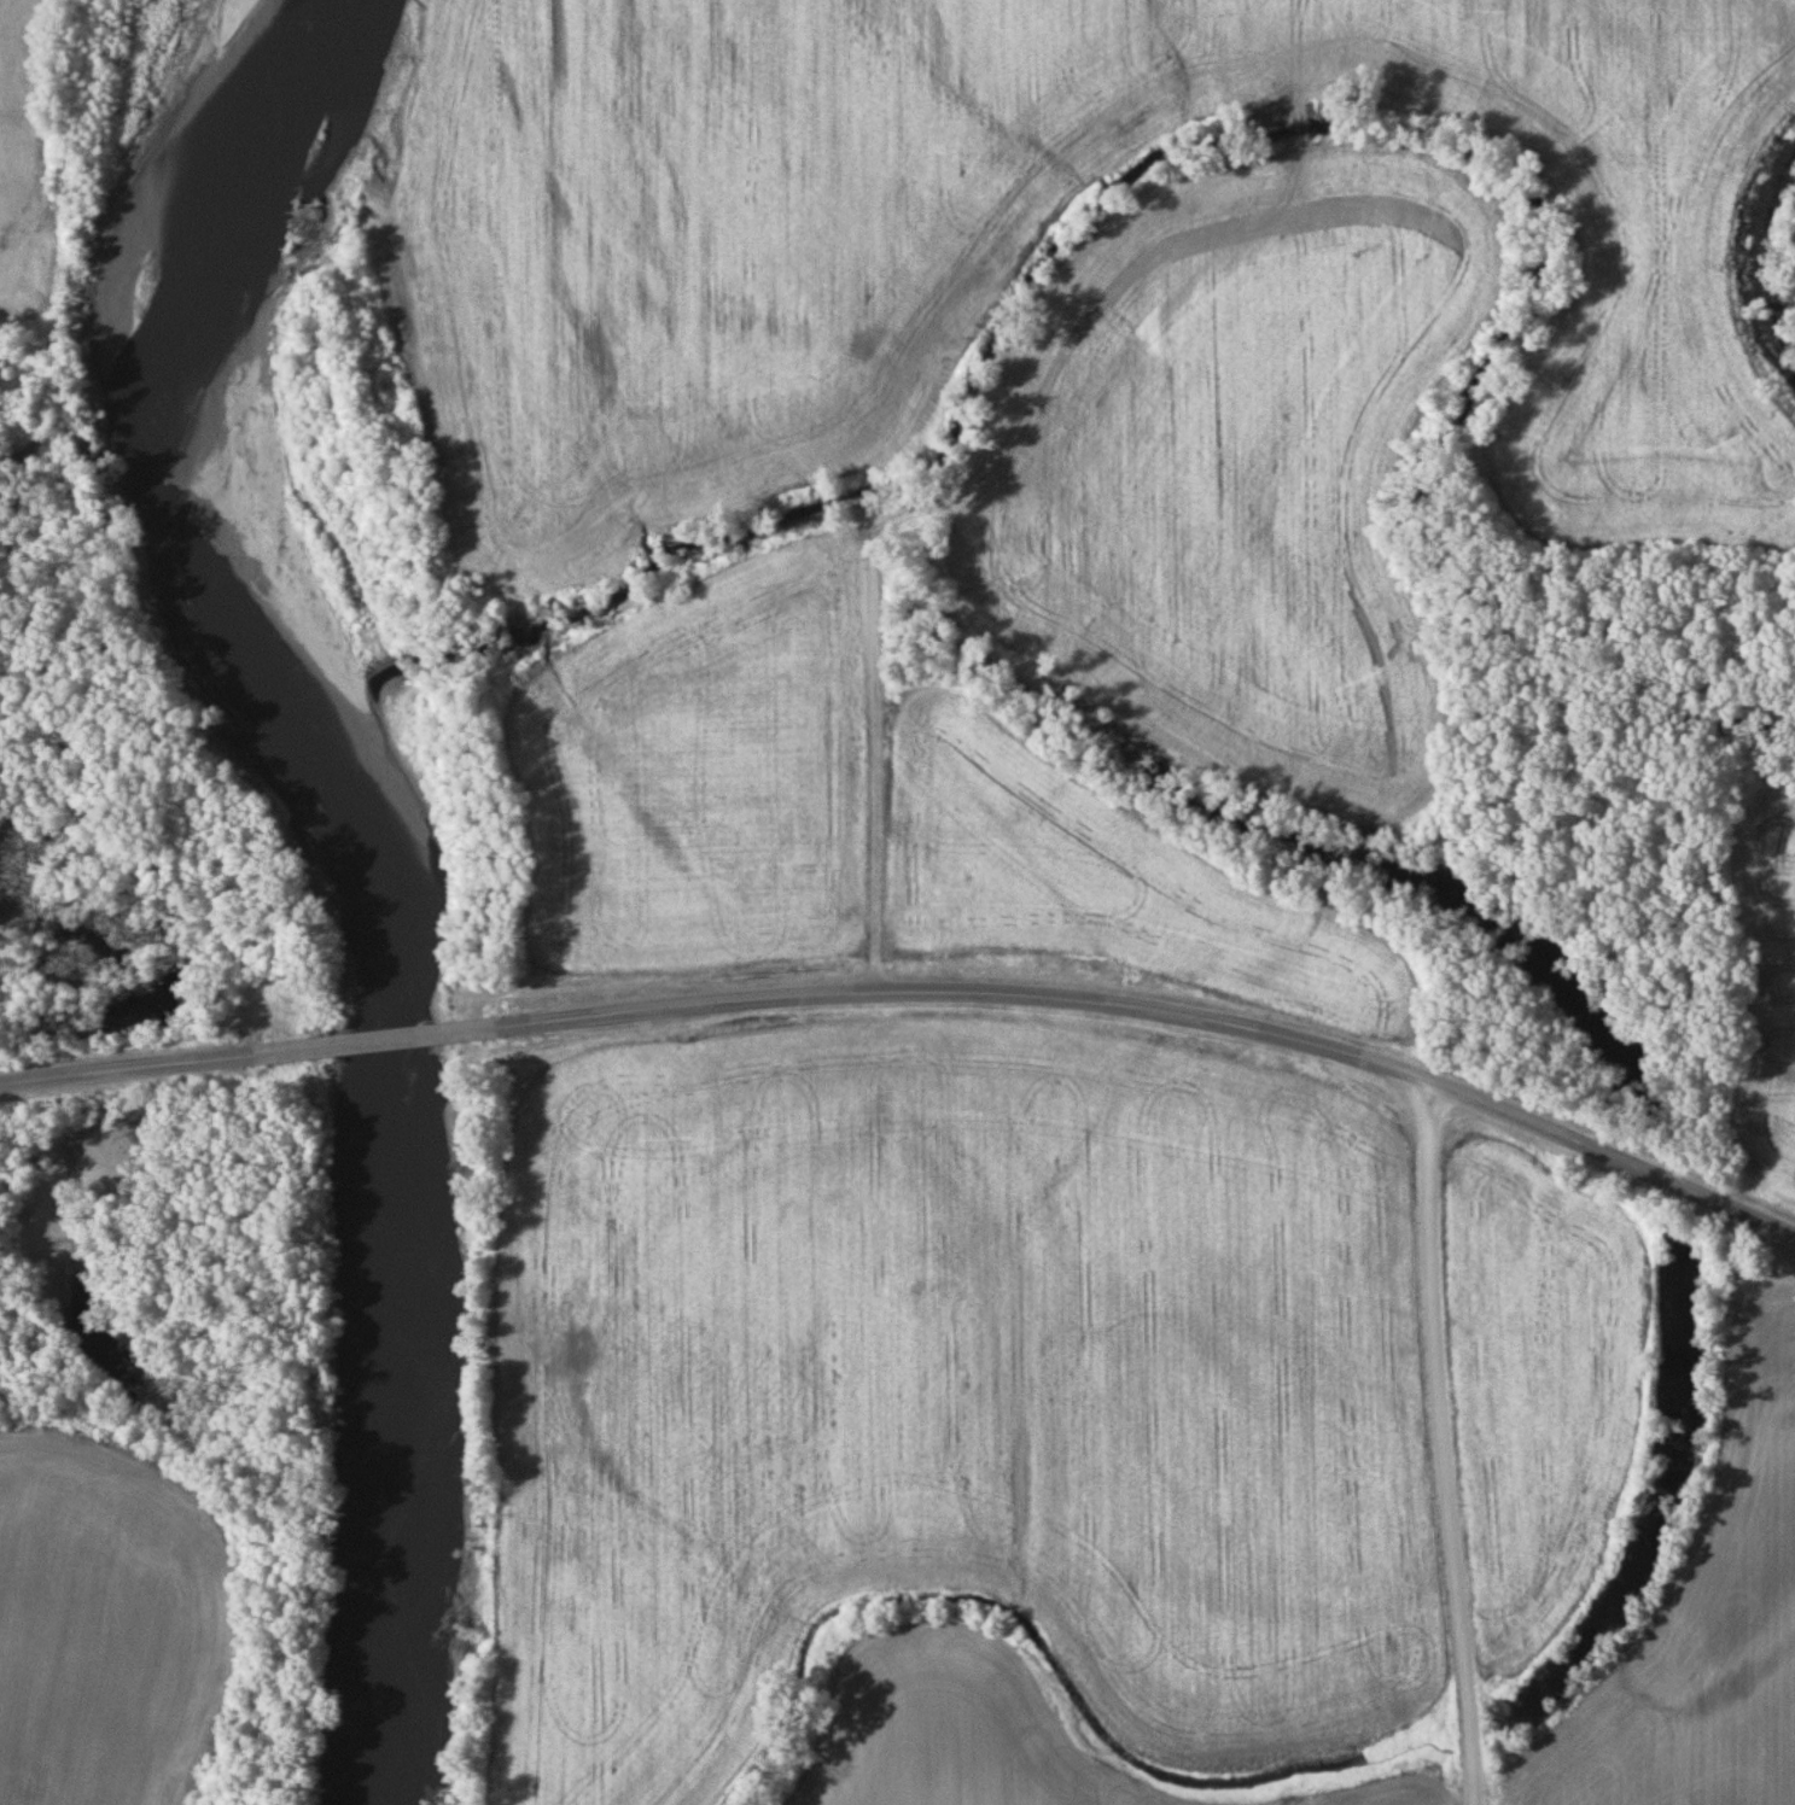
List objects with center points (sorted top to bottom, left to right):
road: (867, 416)
road: (1159, 1014)
road: (380, 1041)
road: (136, 1068)
road: (1447, 1444)

